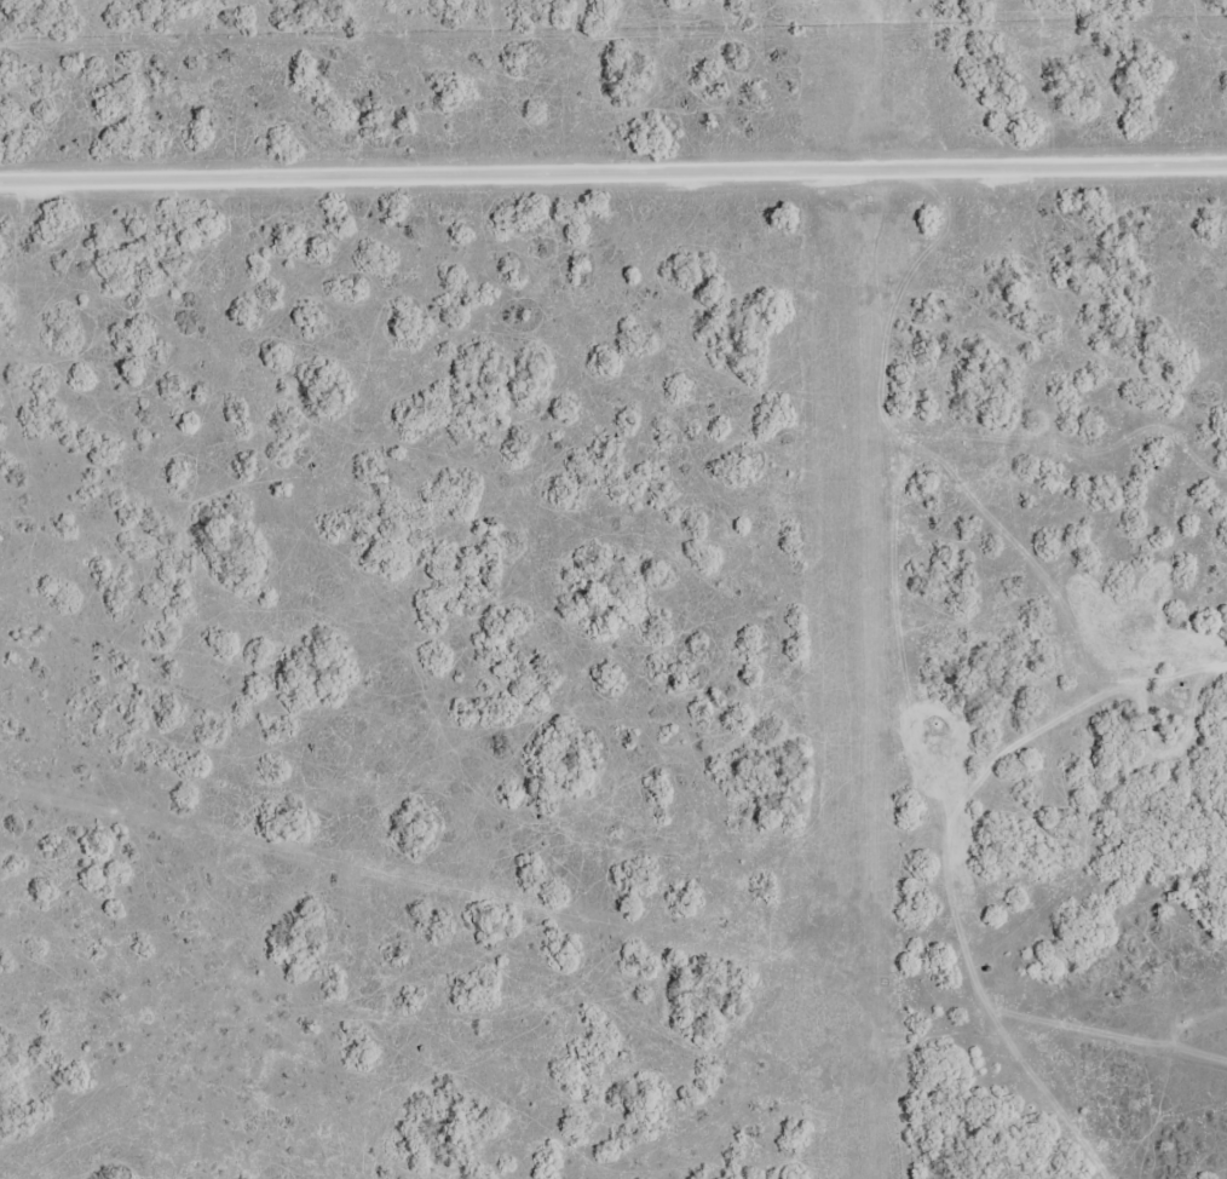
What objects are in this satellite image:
road: (613, 163)

